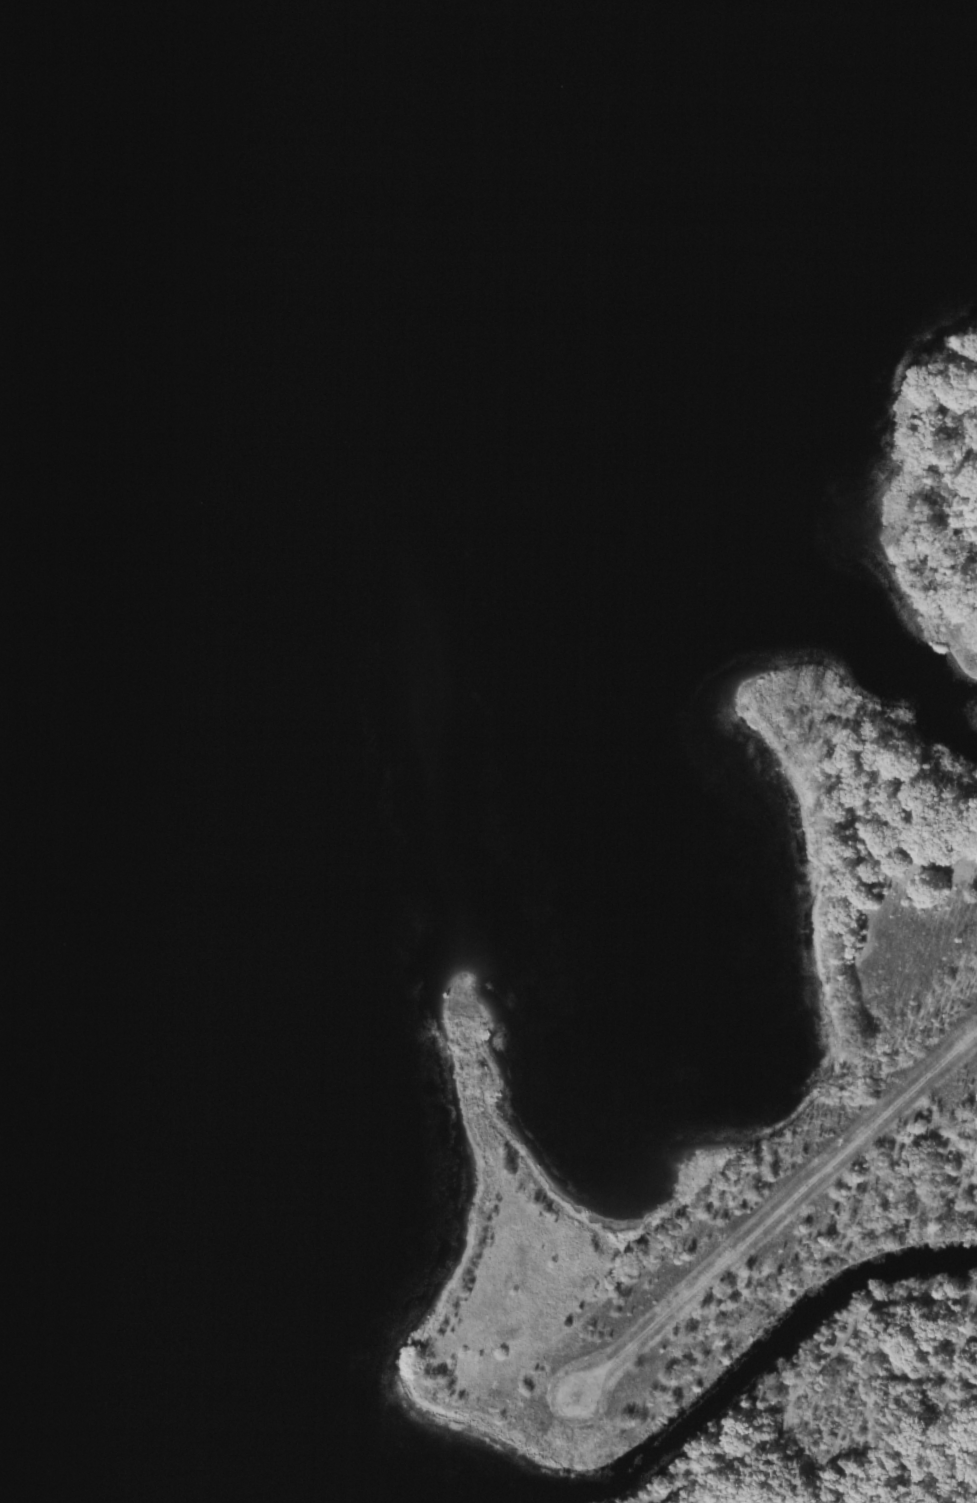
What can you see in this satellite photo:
road: (776, 1211)

